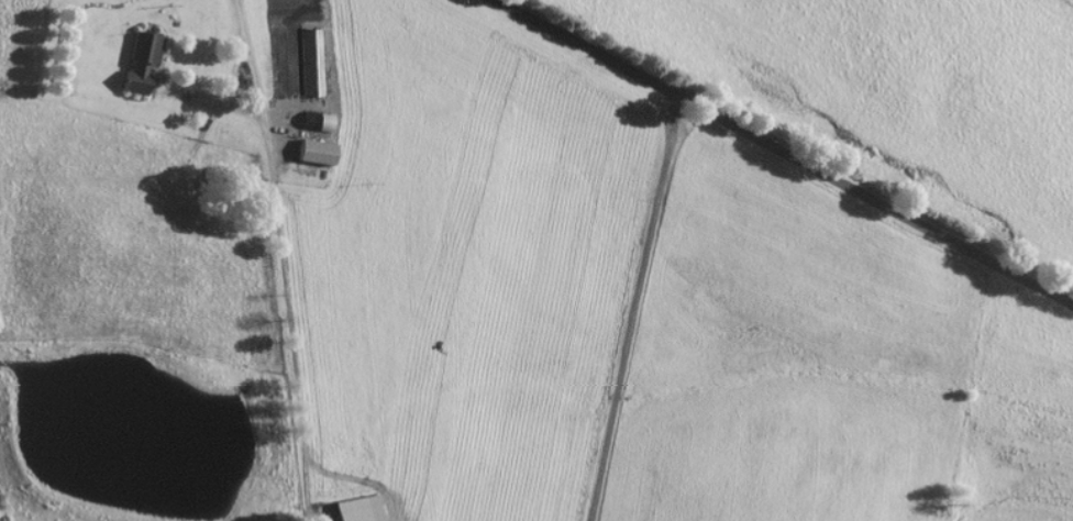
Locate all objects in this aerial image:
road: (236, 48)
building: (142, 59)
building: (312, 62)
building: (318, 119)
building: (318, 149)
road: (785, 151)
road: (633, 307)
building: (359, 508)

